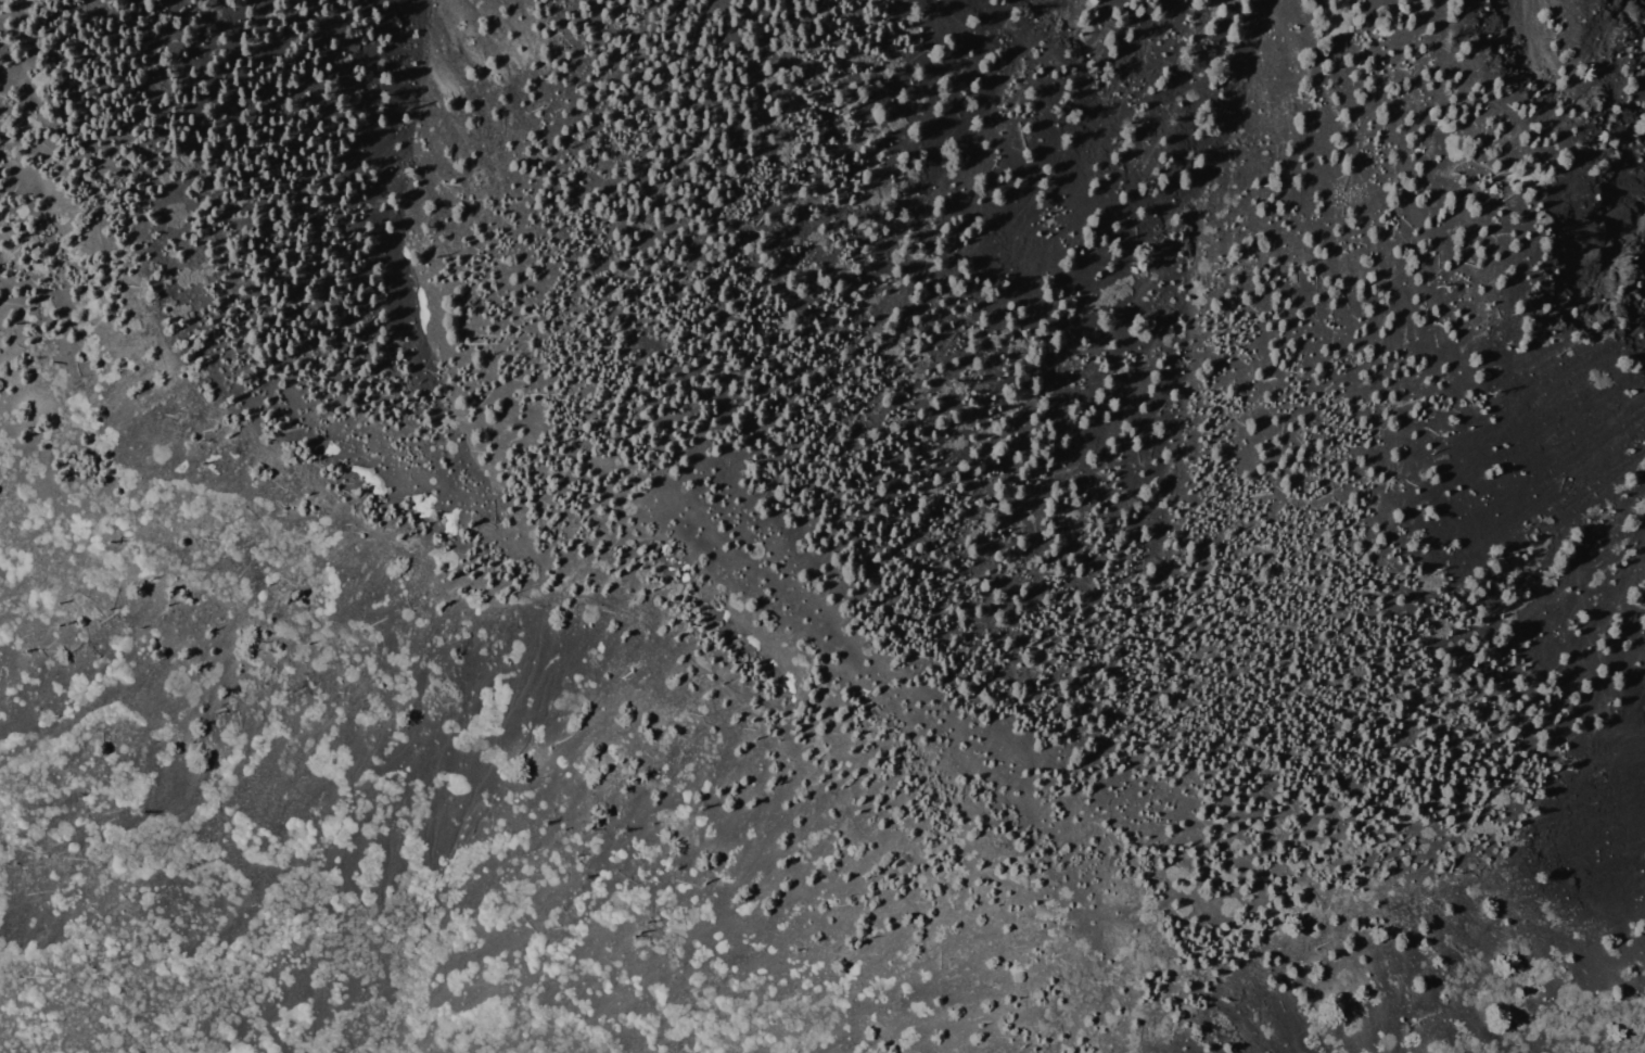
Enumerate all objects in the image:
road: (697, 540)
road: (485, 595)
road: (1057, 883)

